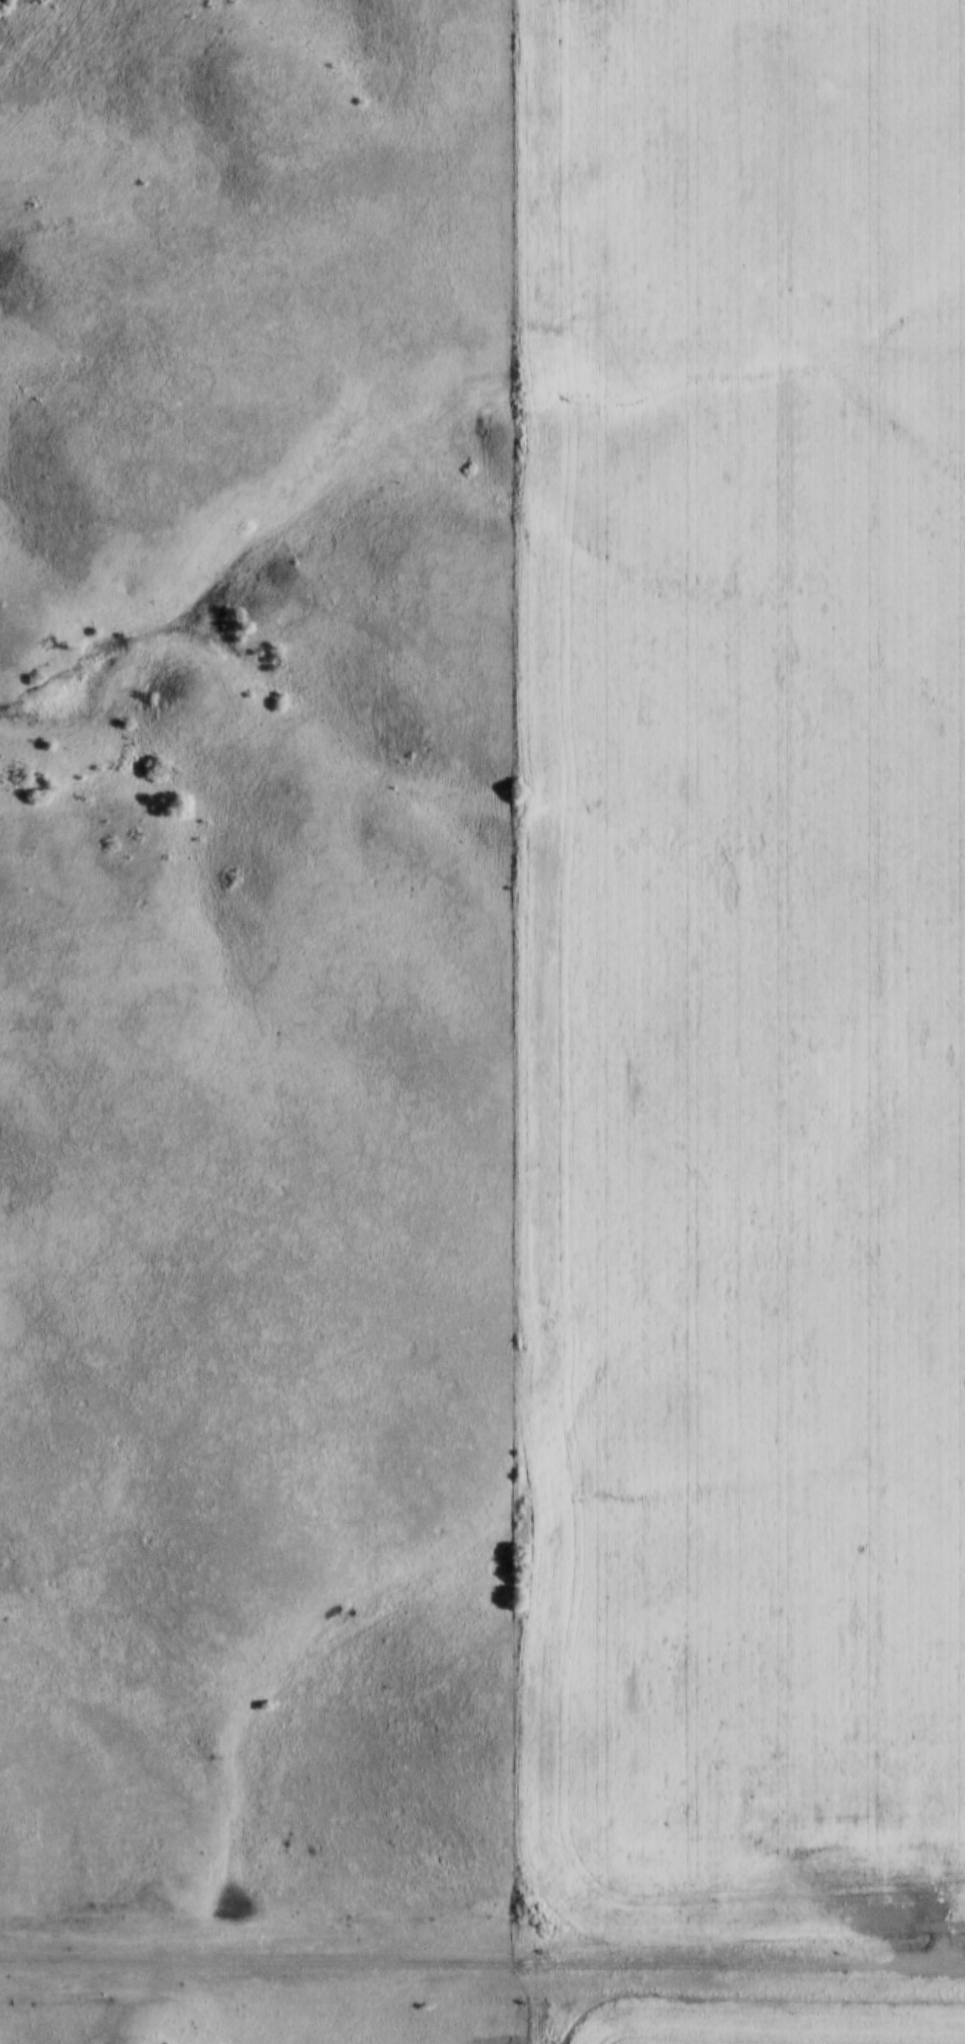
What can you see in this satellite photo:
road: (482, 1961)

